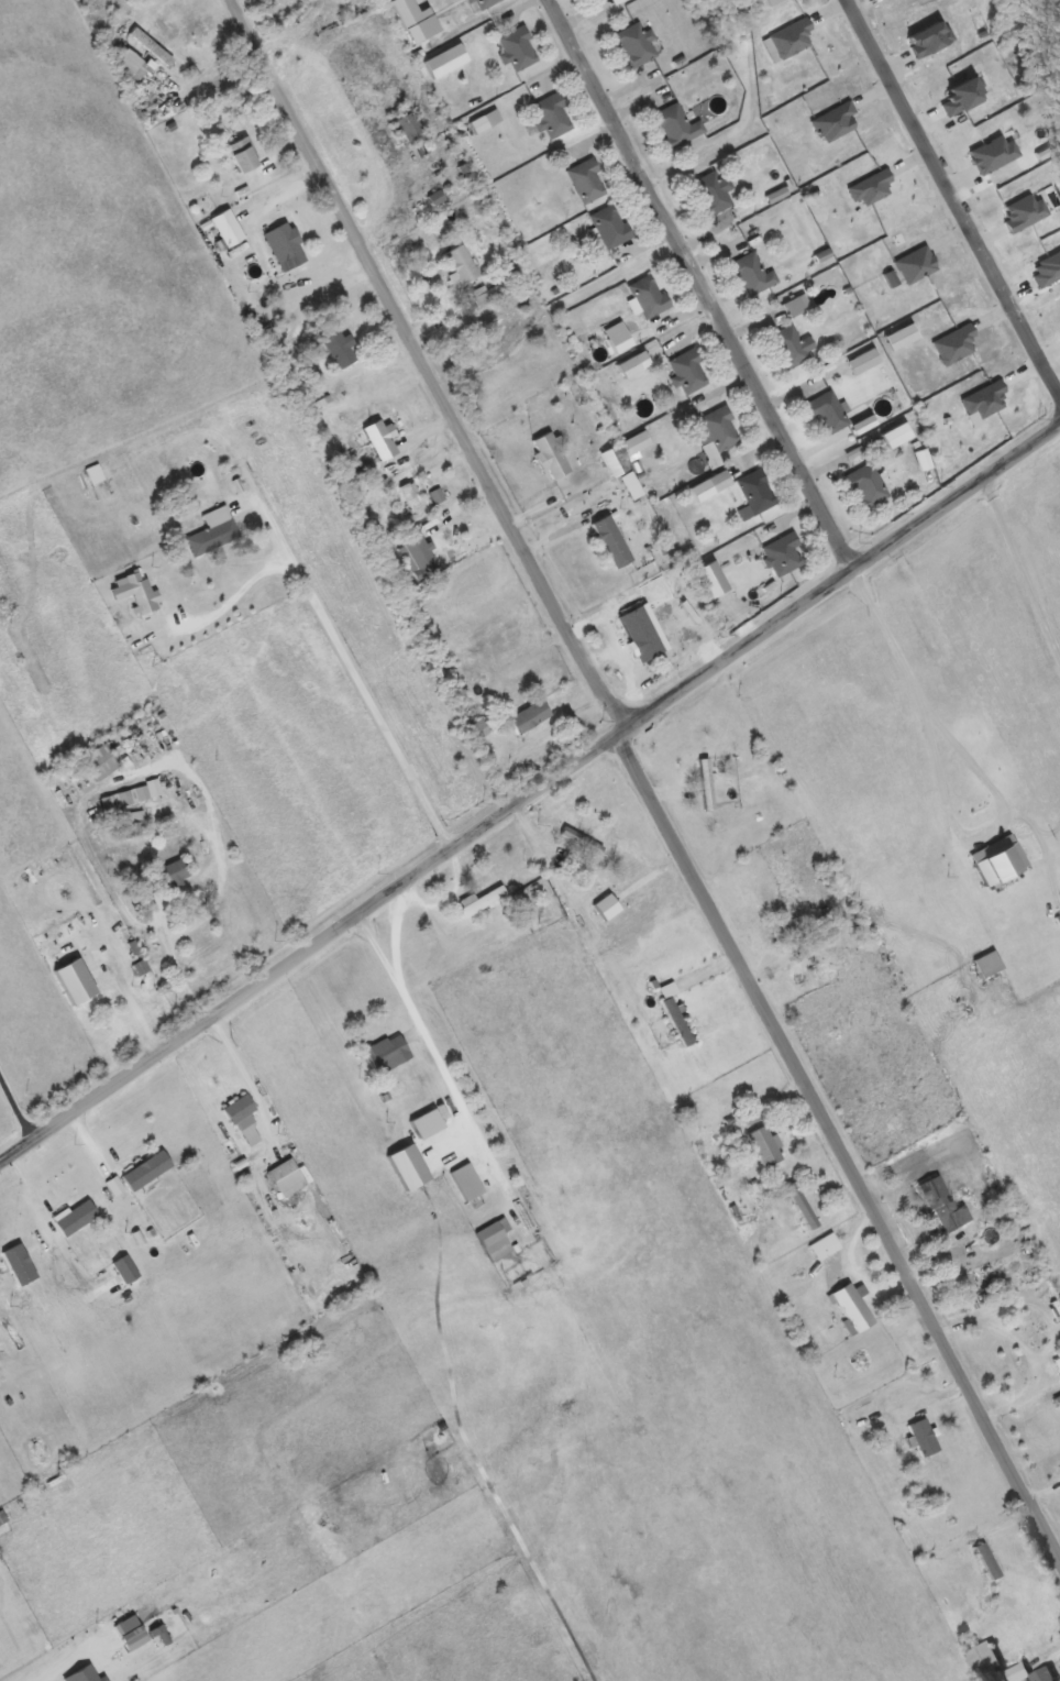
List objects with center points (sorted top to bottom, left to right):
building: (484, 2)
building: (638, 44)
building: (152, 45)
building: (519, 47)
building: (131, 65)
building: (553, 114)
building: (678, 124)
building: (410, 128)
building: (244, 154)
building: (588, 179)
road: (958, 184)
building: (714, 191)
building: (611, 226)
building: (284, 241)
building: (463, 264)
building: (754, 274)
road: (700, 283)
building: (650, 295)
building: (796, 306)
building: (340, 344)
building: (794, 345)
building: (864, 361)
road: (432, 371)
building: (689, 371)
building: (829, 410)
building: (720, 428)
building: (378, 440)
building: (552, 455)
building: (616, 460)
building: (96, 473)
building: (721, 480)
building: (632, 484)
building: (868, 484)
building: (757, 493)
building: (413, 501)
building: (213, 536)
building: (616, 536)
building: (784, 553)
building: (420, 557)
road: (1018, 565)
building: (651, 626)
road: (1059, 653)
road: (1059, 656)
building: (531, 715)
building: (102, 761)
road: (942, 784)
building: (708, 787)
road: (538, 803)
building: (583, 839)
building: (1002, 865)
building: (581, 868)
building: (163, 876)
building: (481, 901)
building: (793, 930)
building: (108, 991)
building: (678, 1021)
building: (388, 1052)
building: (244, 1117)
building: (766, 1145)
road: (841, 1152)
building: (148, 1169)
building: (290, 1182)
building: (941, 1204)
building: (77, 1217)
building: (496, 1239)
building: (827, 1245)
building: (853, 1307)
building: (925, 1436)
building: (989, 1560)
building: (133, 1631)
building: (985, 1658)
road: (69, 1666)
building: (1046, 1674)

